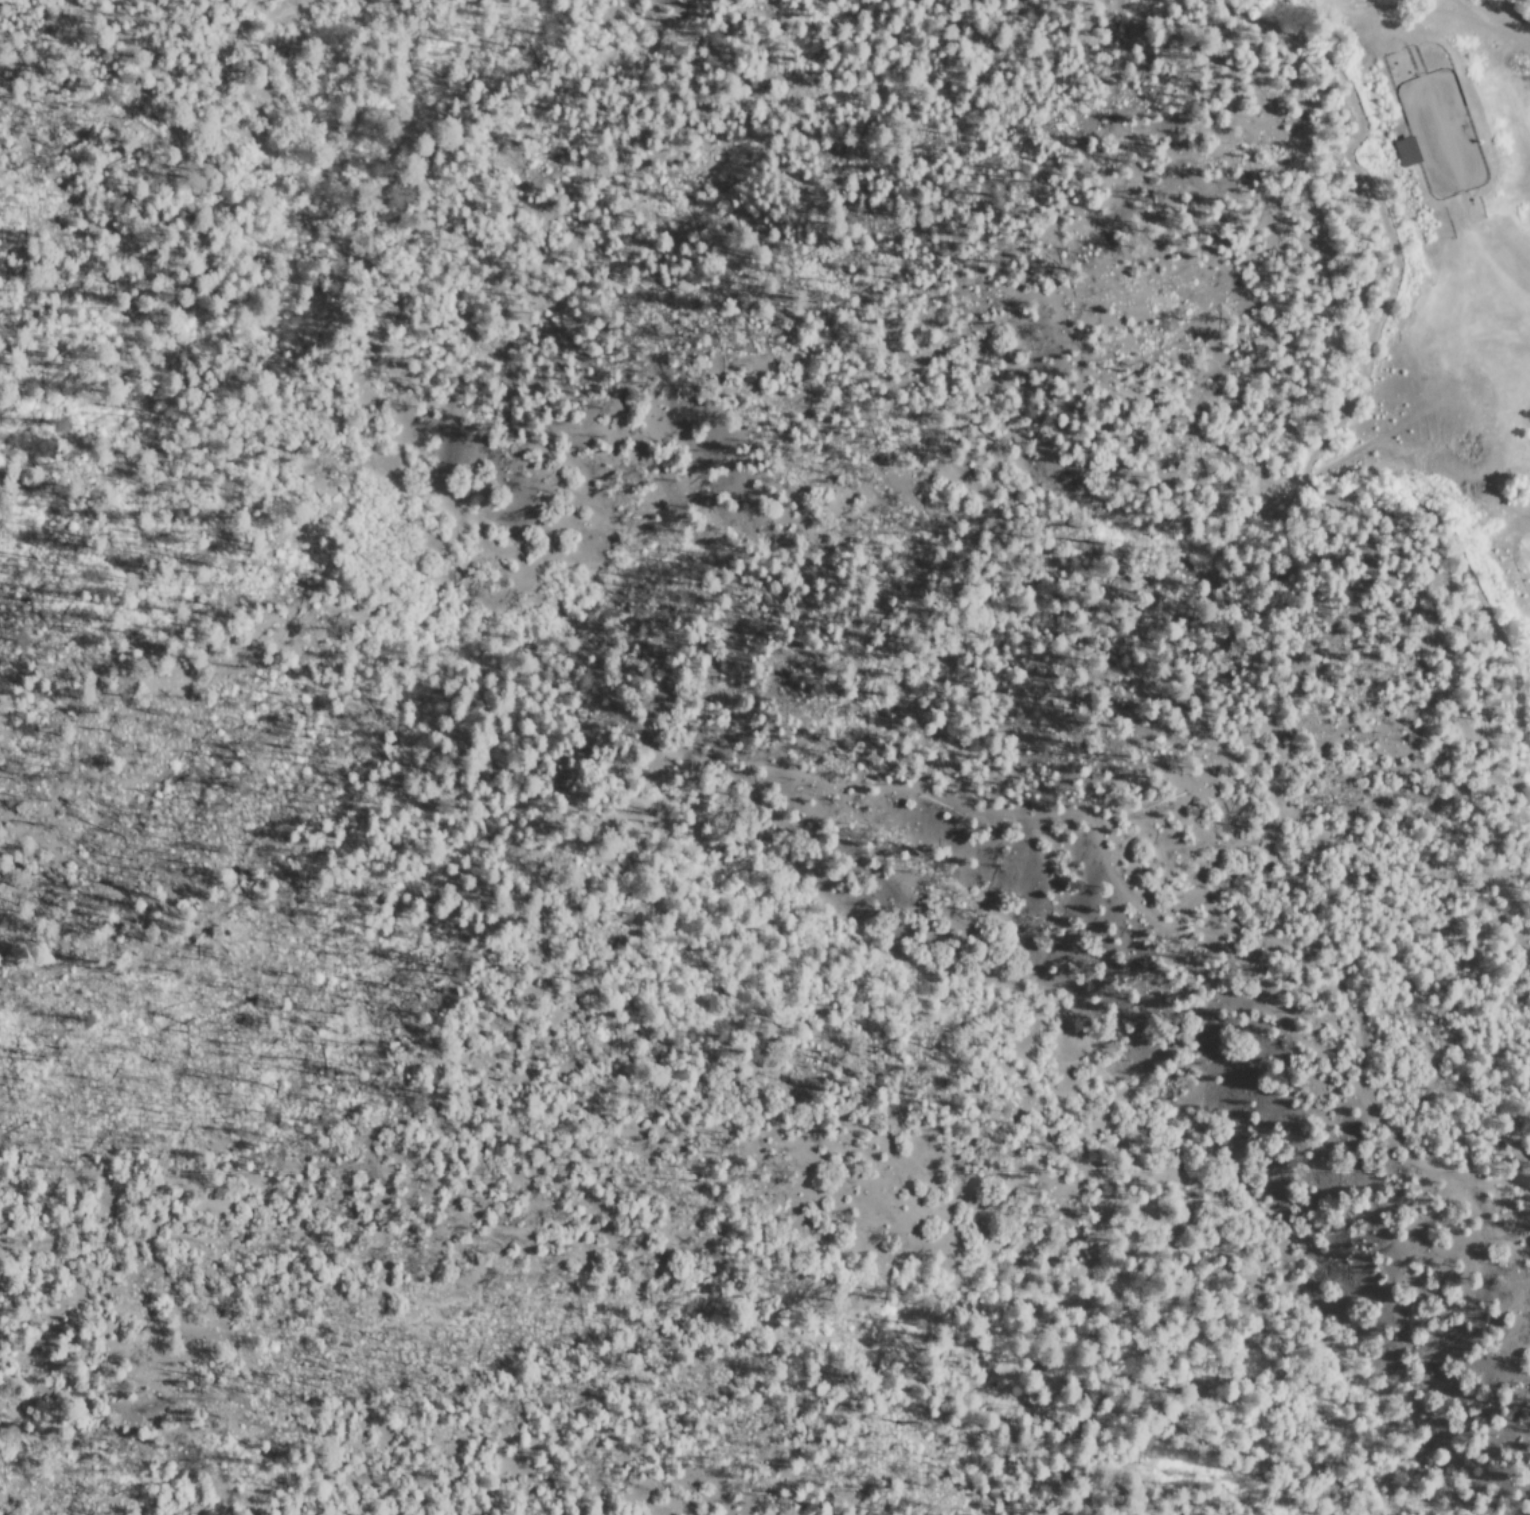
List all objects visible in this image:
road: (1482, 38)
building: (1406, 151)

